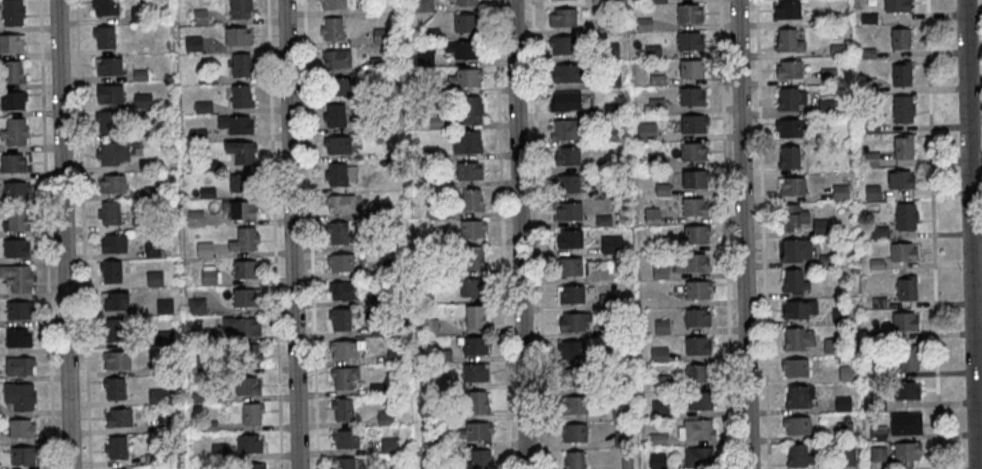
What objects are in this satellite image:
building: (562, 0)
building: (466, 2)
building: (602, 2)
building: (657, 2)
building: (334, 4)
building: (424, 5)
building: (104, 6)
building: (896, 6)
building: (241, 8)
building: (787, 11)
building: (12, 12)
building: (138, 14)
building: (200, 15)
building: (689, 15)
building: (563, 19)
building: (829, 20)
building: (868, 20)
building: (465, 23)
building: (605, 25)
building: (644, 25)
building: (333, 28)
building: (104, 36)
building: (237, 36)
building: (900, 39)
building: (11, 42)
building: (689, 42)
building: (788, 42)
building: (194, 43)
building: (562, 46)
building: (462, 49)
building: (837, 50)
building: (609, 52)
building: (652, 53)
building: (868, 54)
building: (424, 57)
building: (337, 58)
building: (241, 64)
building: (108, 66)
building: (692, 69)
building: (789, 70)
building: (13, 71)
building: (569, 73)
building: (140, 74)
building: (901, 76)
building: (465, 77)
building: (828, 77)
building: (612, 80)
building: (657, 81)
building: (869, 81)
building: (339, 86)
building: (871, 90)
building: (110, 94)
building: (241, 96)
building: (691, 98)
building: (142, 100)
building: (790, 100)
building: (13, 101)
building: (566, 102)
building: (203, 106)
building: (656, 107)
building: (826, 107)
building: (471, 110)
building: (611, 110)
building: (903, 110)
building: (336, 115)
street lamp: (756, 121)
building: (107, 122)
building: (236, 124)
building: (694, 125)
building: (792, 128)
building: (15, 131)
building: (566, 131)
building: (646, 132)
building: (613, 136)
building: (467, 142)
building: (338, 144)
building: (903, 148)
building: (242, 151)
building: (692, 153)
building: (107, 154)
building: (567, 157)
building: (789, 159)
building: (871, 160)
building: (656, 161)
building: (13, 163)
building: (611, 165)
building: (468, 171)
building: (337, 174)
building: (695, 180)
building: (900, 181)
building: (242, 182)
building: (111, 183)
building: (567, 185)
building: (792, 187)
building: (16, 190)
building: (662, 191)
building: (840, 193)
building: (872, 193)
building: (470, 201)
building: (340, 203)
building: (242, 209)
building: (694, 209)
building: (110, 212)
building: (569, 213)
building: (652, 217)
building: (792, 218)
building: (906, 218)
building: (15, 219)
building: (603, 222)
building: (472, 228)
building: (820, 228)
building: (337, 232)
road: (46, 234)
road: (62, 234)
road: (82, 234)
road: (274, 234)
road: (290, 234)
road: (310, 234)
road: (502, 234)
road: (518, 234)
road: (538, 234)
road: (726, 234)
road: (742, 234)
road: (762, 234)
building: (879, 234)
road: (933, 234)
road: (969, 234)
building: (696, 235)
building: (243, 239)
building: (570, 240)
building: (113, 243)
building: (611, 246)
building: (15, 247)
building: (664, 247)
building: (152, 248)
building: (796, 251)
building: (902, 253)
building: (473, 258)
building: (827, 261)
building: (341, 262)
building: (691, 263)
building: (877, 266)
building: (570, 268)
building: (245, 269)
building: (110, 272)
building: (660, 273)
building: (17, 278)
building: (154, 278)
building: (794, 283)
building: (470, 288)
building: (344, 290)
building: (698, 291)
building: (907, 291)
building: (572, 296)
building: (245, 297)
building: (115, 300)
building: (607, 302)
building: (878, 304)
building: (164, 305)
building: (196, 306)
building: (19, 310)
building: (799, 310)
building: (840, 316)
building: (475, 317)
building: (341, 319)
building: (696, 319)
building: (574, 323)
building: (904, 323)
building: (241, 326)
building: (429, 326)
building: (661, 328)
building: (610, 329)
building: (114, 330)
building: (18, 338)
building: (877, 338)
building: (798, 340)
building: (475, 346)
building: (697, 347)
building: (832, 347)
building: (343, 348)
building: (572, 351)
building: (249, 355)
building: (659, 356)
building: (117, 360)
building: (909, 360)
building: (18, 366)
building: (795, 369)
building: (475, 372)
building: (698, 375)
building: (846, 375)
building: (342, 378)
building: (573, 379)
building: (662, 383)
building: (247, 385)
building: (620, 386)
building: (113, 388)
building: (907, 392)
building: (20, 395)
building: (796, 399)
building: (478, 402)
building: (700, 402)
building: (843, 405)
building: (574, 407)
building: (878, 407)
building: (342, 409)
building: (660, 410)
building: (252, 413)
building: (621, 414)
building: (119, 417)
building: (906, 425)
building: (20, 427)
building: (797, 427)
building: (476, 431)
building: (698, 431)
building: (845, 432)
building: (574, 434)
building: (878, 434)
building: (346, 438)
building: (623, 441)
building: (658, 441)
building: (248, 443)
building: (392, 444)
building: (116, 447)
building: (907, 453)
building: (23, 455)
building: (878, 455)
building: (798, 457)
building: (479, 459)
building: (698, 459)
building: (847, 459)
building: (575, 461)
building: (658, 462)
building: (345, 463)
building: (627, 464)
building: (255, 466)
road: (973, 467)
road: (952, 468)

